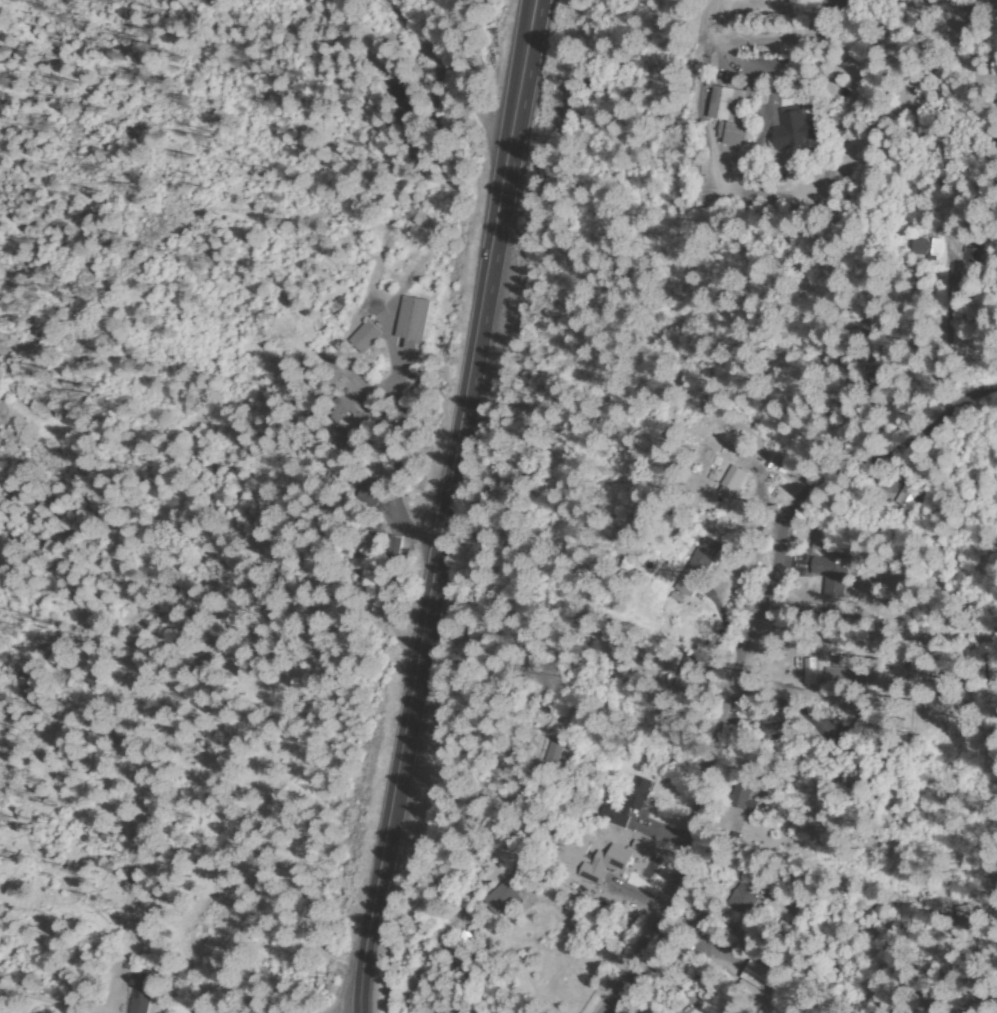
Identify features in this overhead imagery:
road: (840, 36)
road: (445, 77)
building: (406, 98)
building: (996, 101)
building: (730, 111)
building: (918, 122)
building: (789, 130)
building: (926, 247)
building: (973, 255)
building: (413, 319)
building: (365, 338)
building: (878, 379)
building: (349, 418)
building: (732, 481)
building: (370, 494)
building: (906, 500)
road: (450, 506)
building: (822, 539)
building: (393, 547)
building: (696, 566)
building: (833, 574)
road: (744, 647)
building: (685, 674)
building: (848, 678)
building: (773, 732)
building: (554, 752)
building: (854, 778)
building: (639, 794)
building: (738, 797)
building: (615, 818)
building: (609, 863)
building: (506, 895)
building: (744, 900)
building: (706, 932)
building: (462, 940)
building: (755, 974)
building: (142, 993)
road: (56, 1003)

